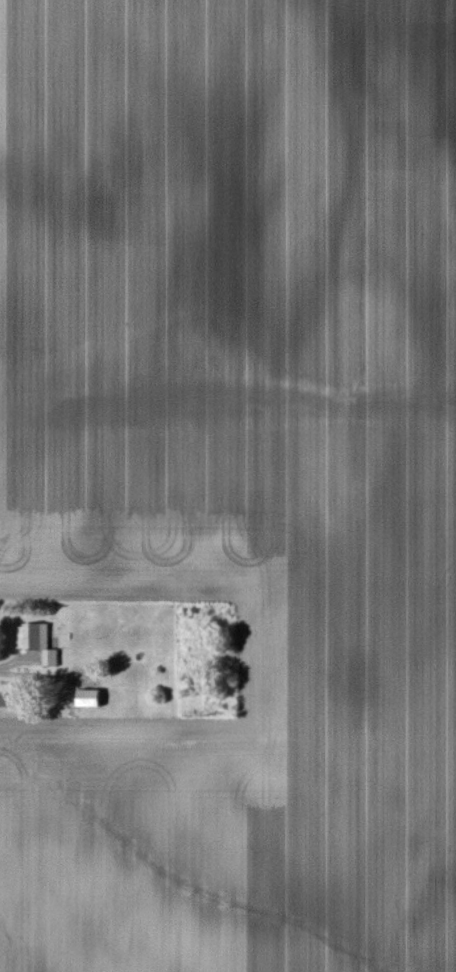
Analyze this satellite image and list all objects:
building: (34, 639)
road: (11, 665)
building: (85, 697)

